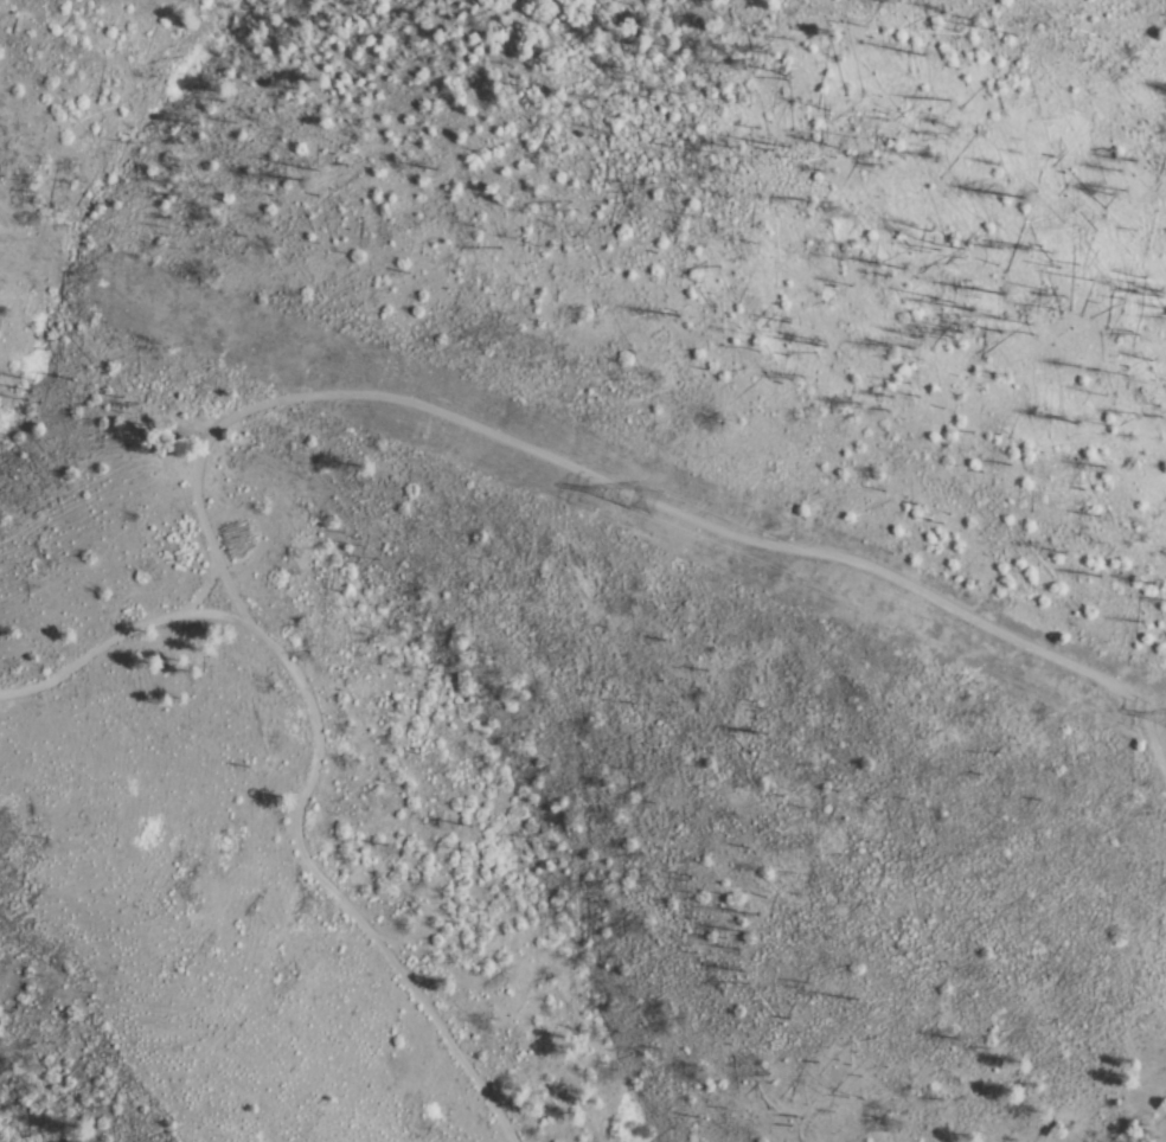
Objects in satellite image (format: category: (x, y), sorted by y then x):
road: (622, 486)
power tower: (643, 500)
road: (203, 588)
road: (307, 771)

